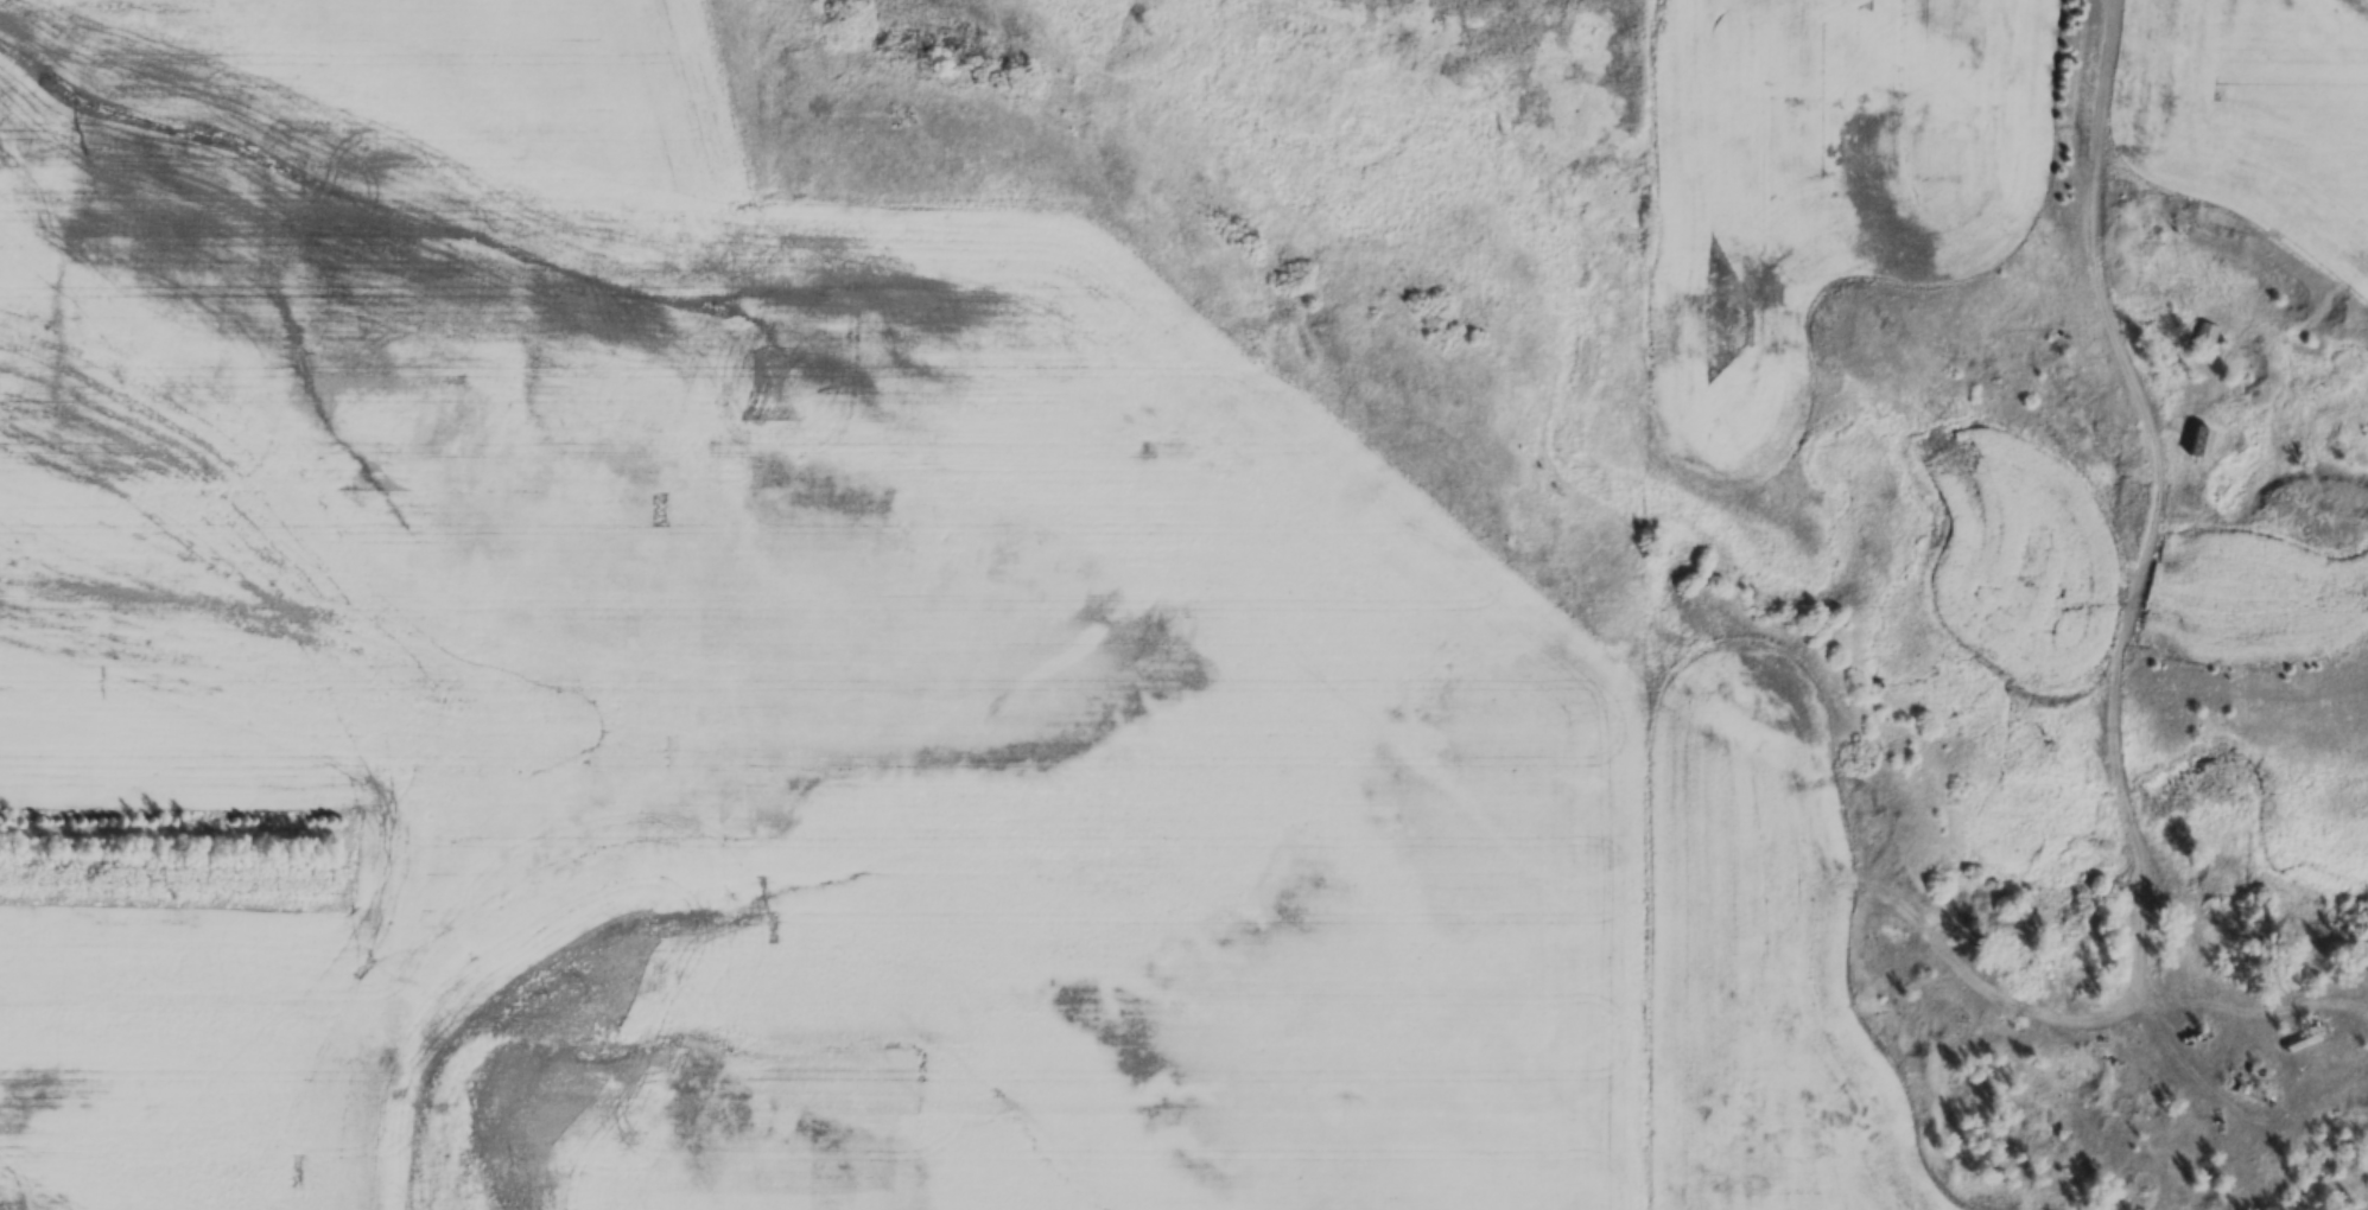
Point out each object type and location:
building: (2203, 335)
building: (2197, 441)
building: (2248, 1091)

